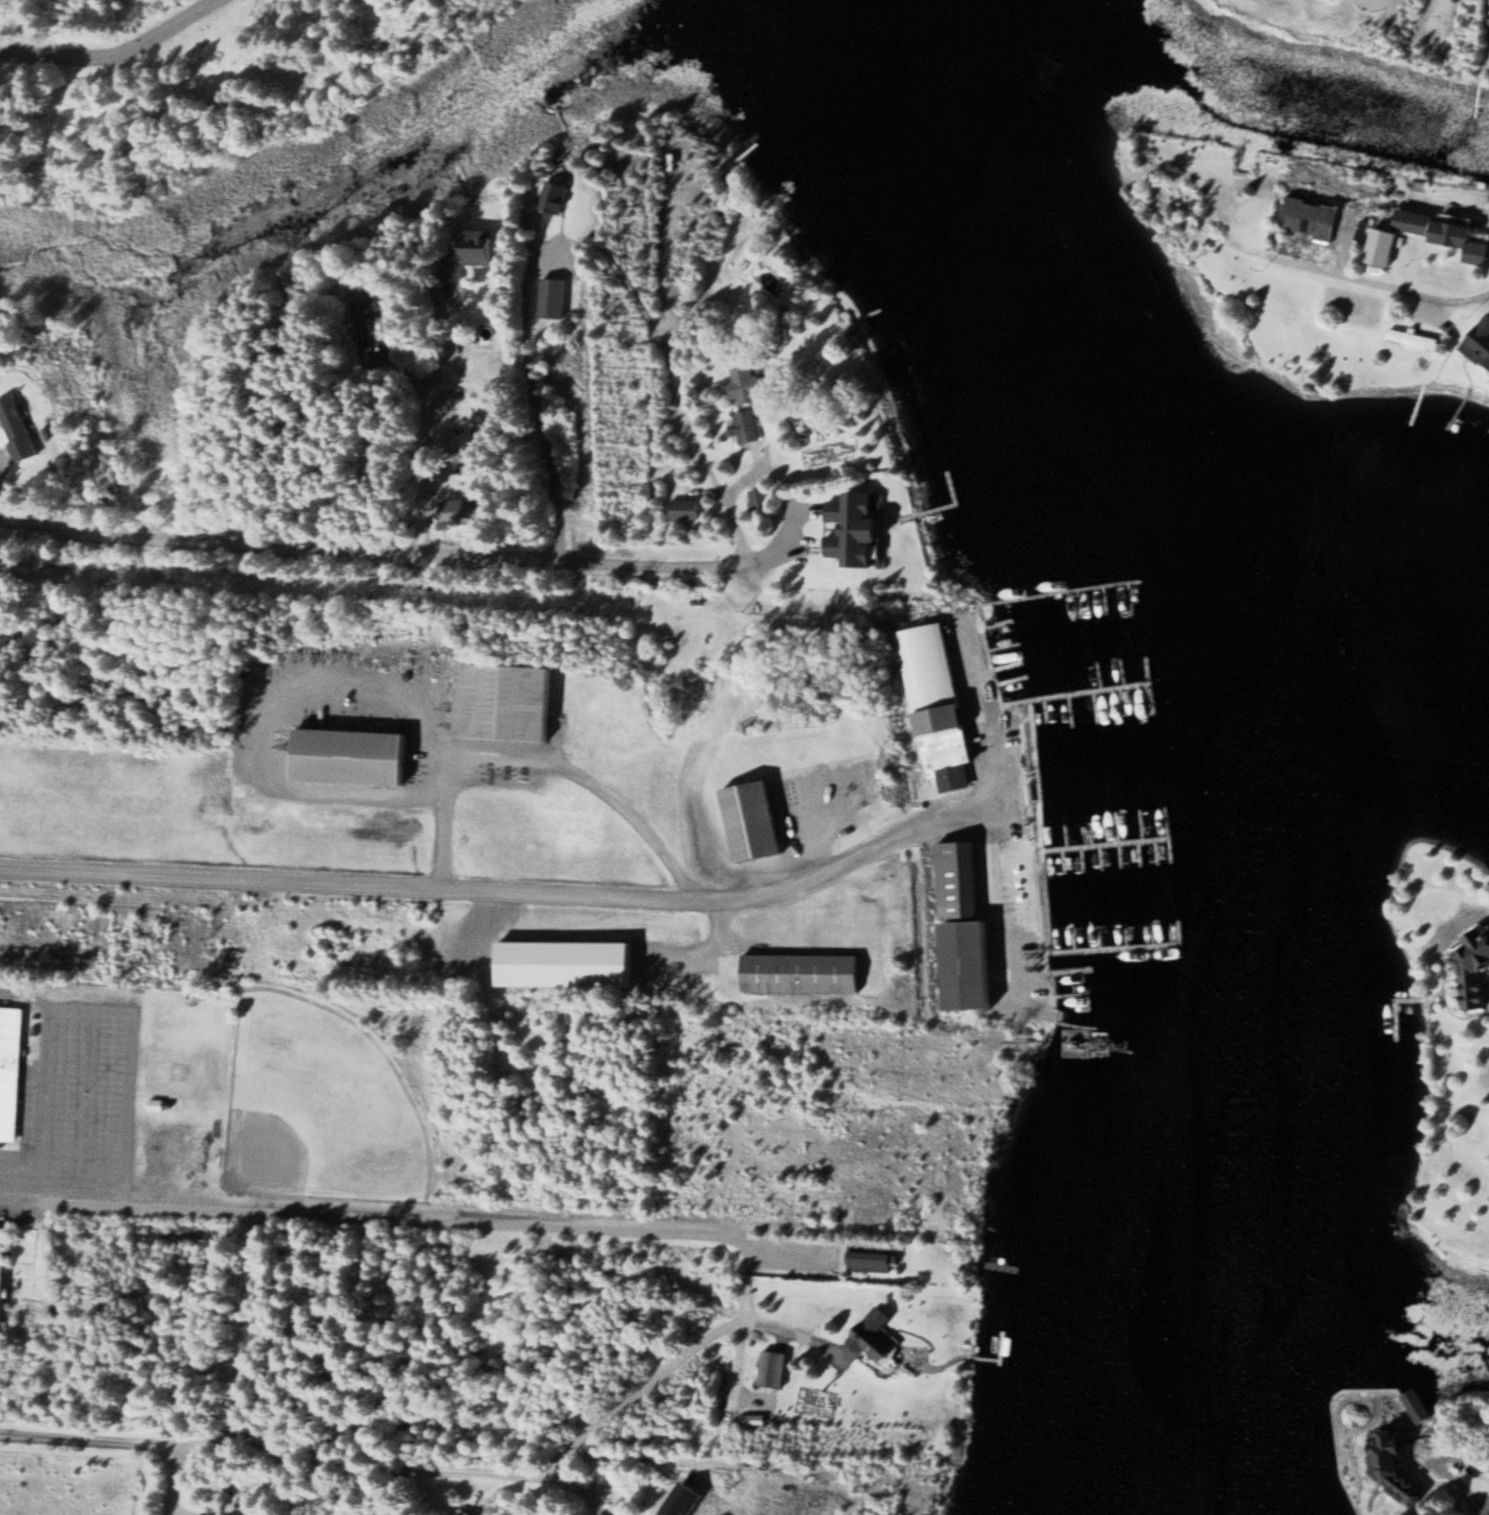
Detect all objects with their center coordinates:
road: (119, 56)
building: (558, 195)
building: (1316, 217)
building: (1443, 227)
building: (478, 249)
road: (1422, 292)
building: (553, 297)
building: (373, 312)
building: (1421, 336)
building: (1482, 343)
building: (747, 384)
building: (746, 425)
building: (19, 427)
building: (760, 497)
building: (684, 507)
building: (465, 509)
building: (859, 527)
road: (403, 551)
river: (1351, 638)
building: (505, 700)
building: (937, 704)
river: (1211, 727)
building: (351, 755)
building: (754, 820)
building: (955, 879)
building: (1015, 889)
road: (484, 896)
building: (200, 933)
building: (568, 962)
building: (967, 964)
building: (1471, 967)
building: (804, 972)
building: (11, 1072)
park: (316, 1104)
road: (372, 1214)
building: (874, 1256)
building: (3, 1277)
building: (877, 1334)
building: (775, 1367)
building: (1417, 1397)
road: (275, 1455)
building: (1425, 1468)
road: (178, 1478)
building: (464, 1512)

